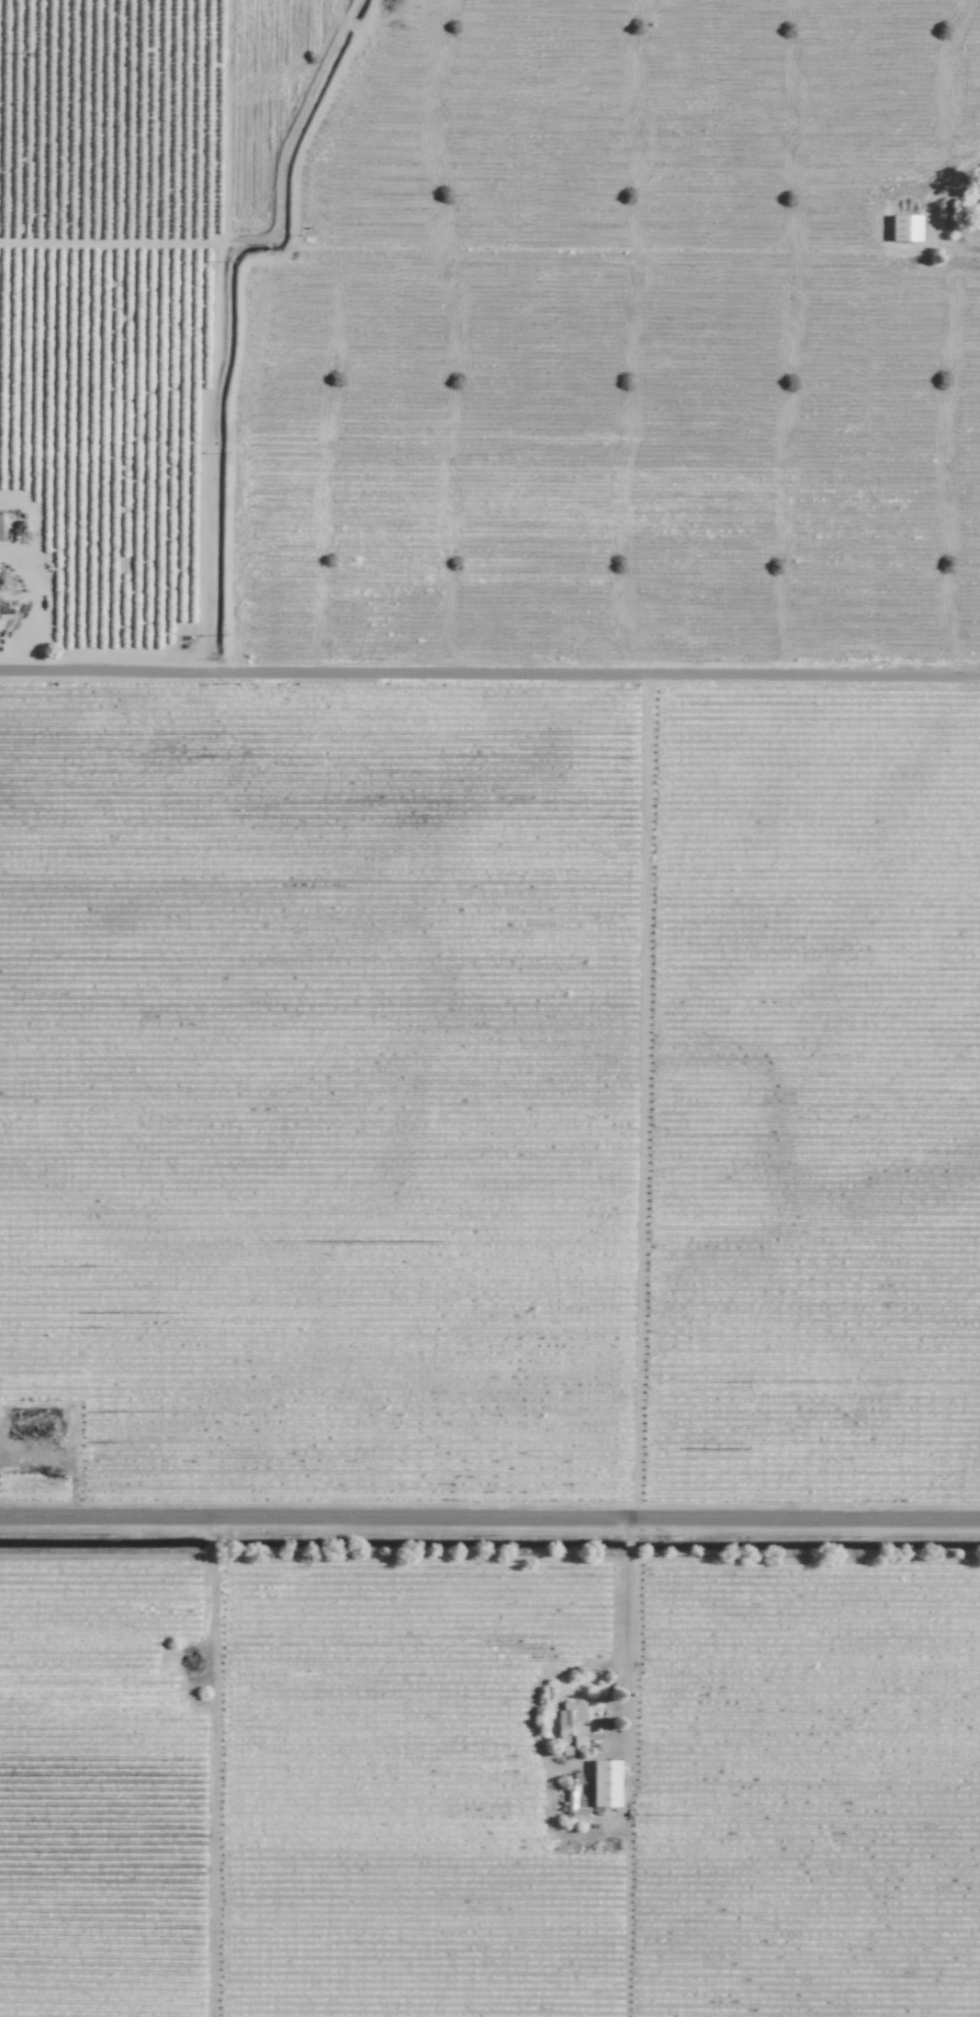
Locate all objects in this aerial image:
road: (490, 676)
building: (34, 1420)
road: (490, 1525)
building: (573, 1723)
building: (606, 1783)
building: (573, 1803)

